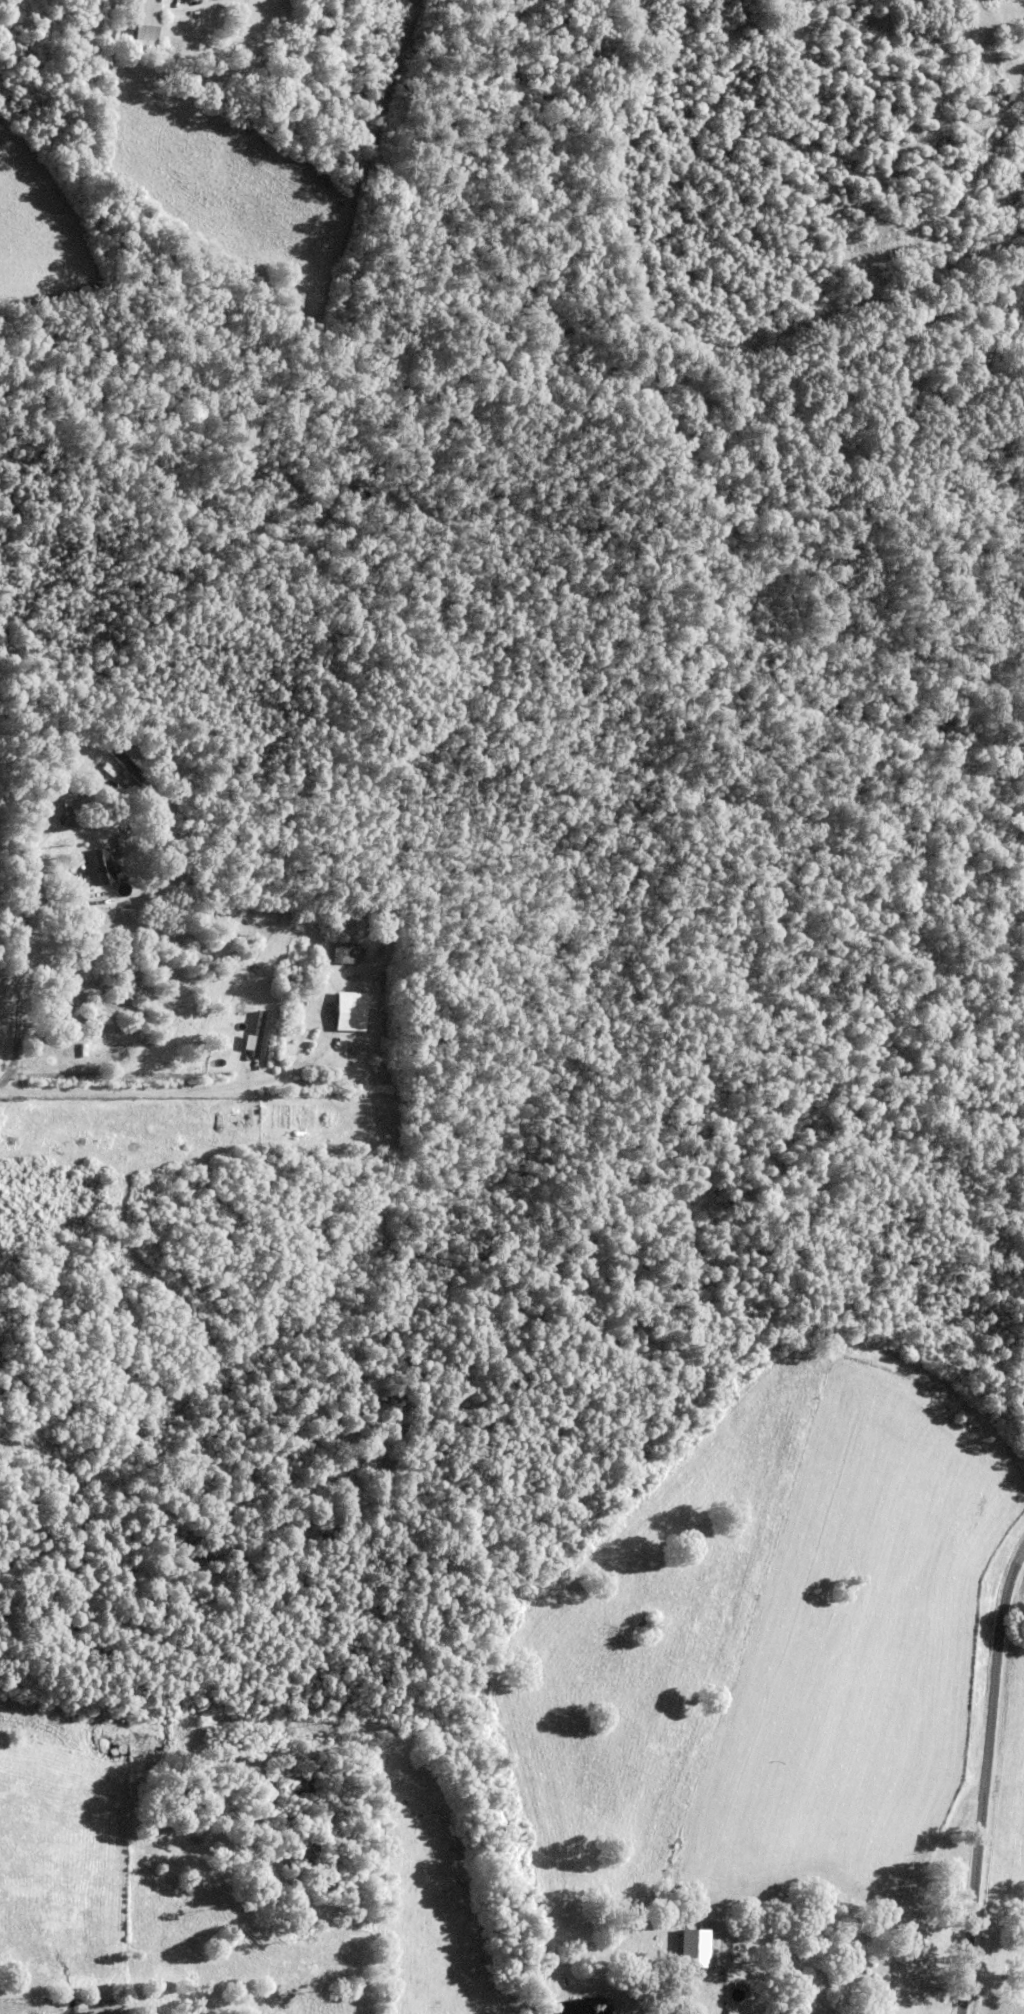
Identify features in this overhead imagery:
building: (989, 0)
building: (145, 17)
building: (918, 266)
building: (903, 267)
building: (887, 277)
building: (849, 284)
building: (122, 759)
building: (175, 786)
building: (71, 810)
building: (98, 863)
building: (79, 874)
building: (345, 951)
building: (242, 1007)
building: (349, 1009)
road: (324, 1024)
building: (261, 1032)
road: (146, 1090)
road: (979, 1776)
building: (764, 1927)
building: (741, 1937)
building: (795, 1938)
building: (867, 1940)
building: (693, 1948)
road: (845, 1980)
building: (783, 2011)

